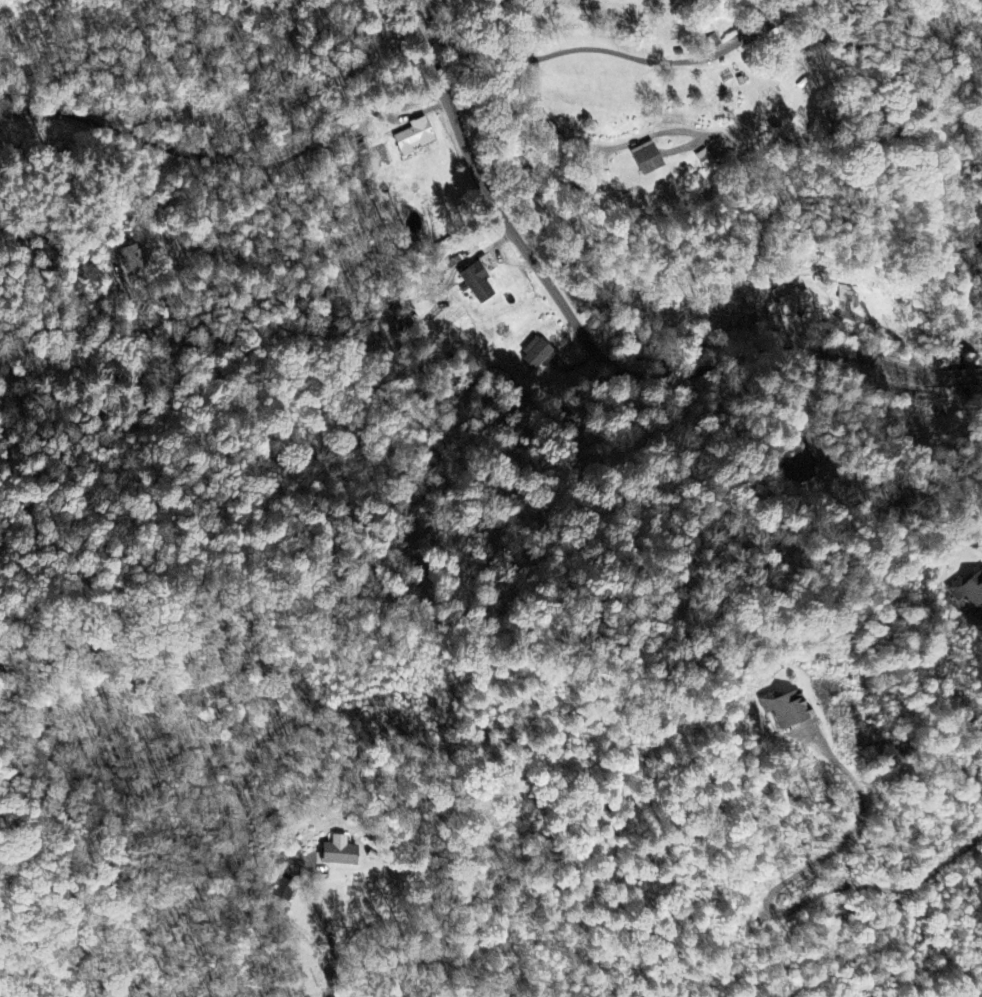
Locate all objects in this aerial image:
road: (421, 47)
building: (416, 138)
building: (651, 159)
road: (229, 163)
building: (479, 285)
building: (796, 304)
road: (10, 315)
road: (621, 379)
road: (658, 551)
building: (790, 710)
road: (331, 945)

